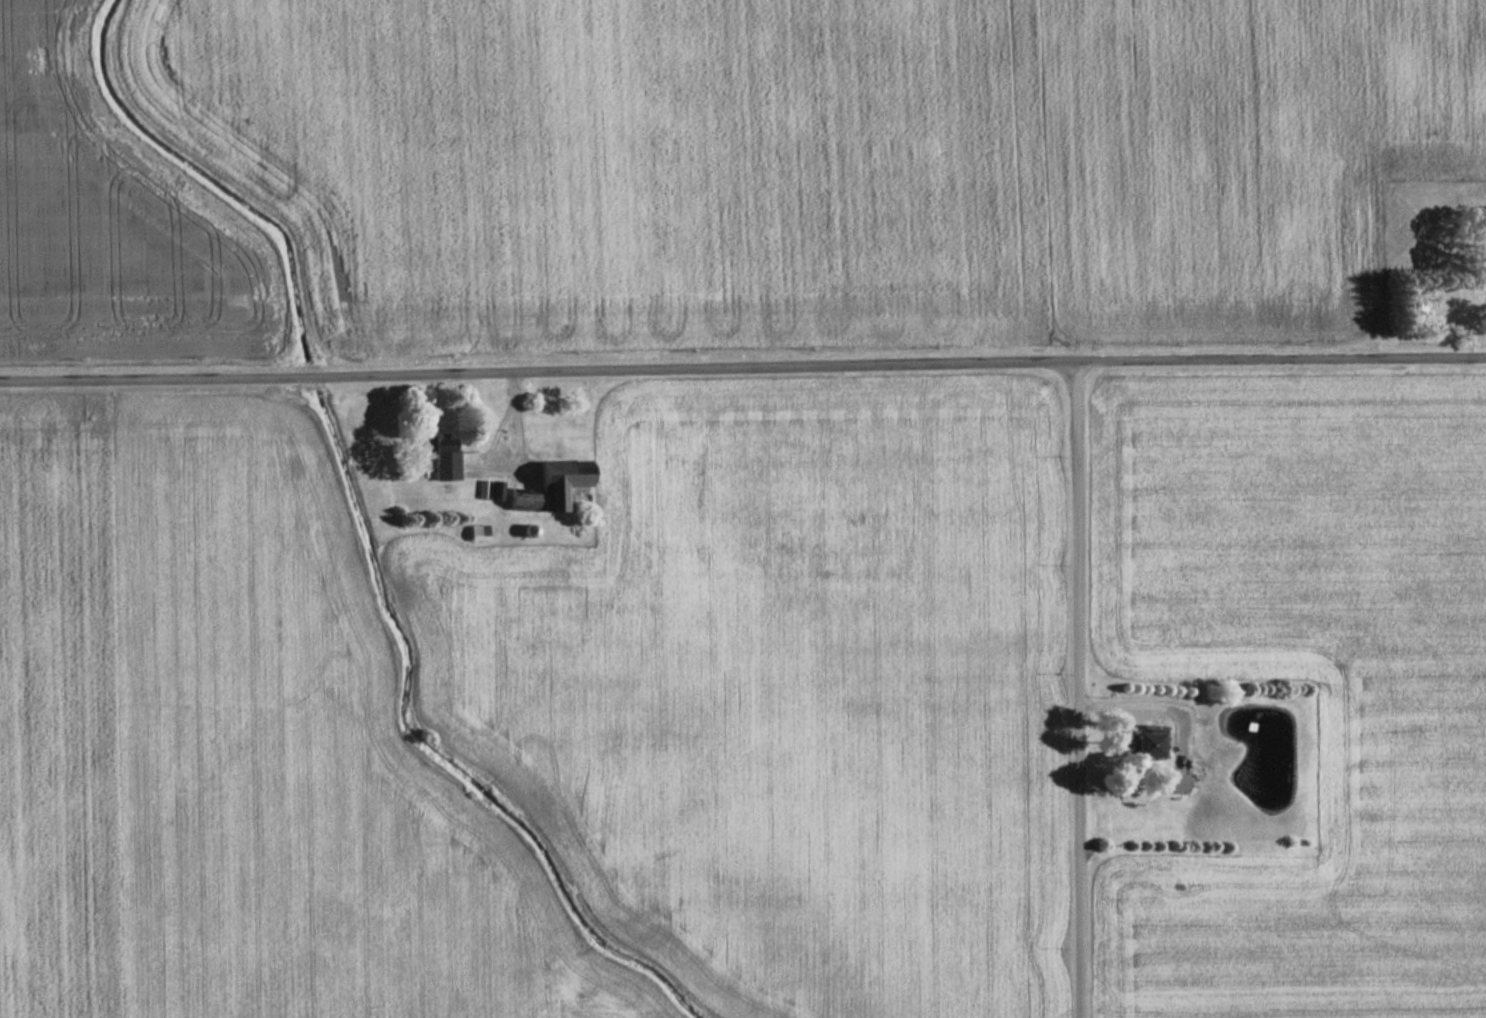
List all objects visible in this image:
crop: (832, 157)
crop: (101, 223)
road: (742, 370)
road: (1078, 691)
crop: (784, 698)
crop: (225, 762)
crop: (1400, 772)

